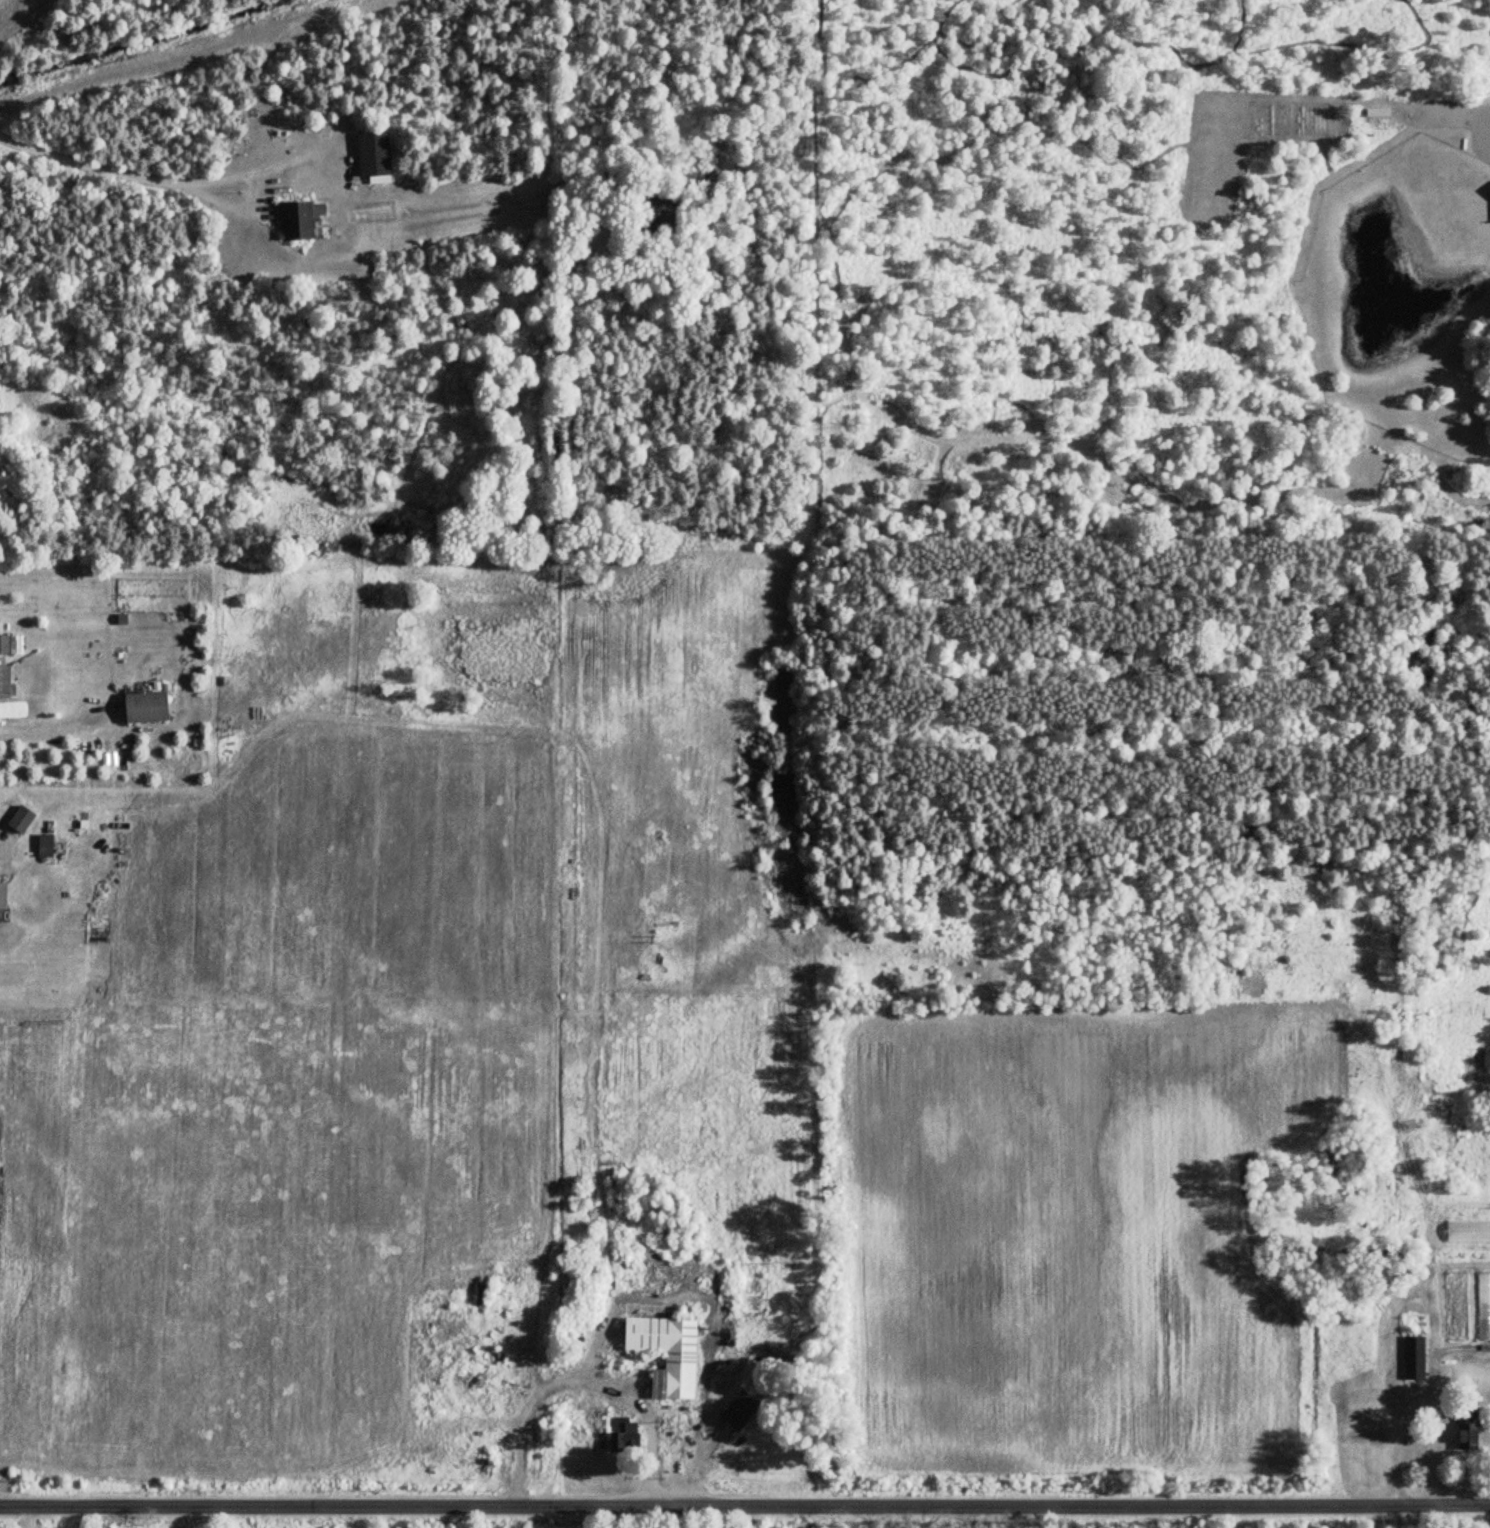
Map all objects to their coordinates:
building: (1378, 112)
building: (376, 157)
road: (112, 167)
building: (297, 221)
building: (5, 645)
building: (5, 682)
building: (148, 707)
road: (29, 732)
building: (47, 846)
building: (4, 899)
building: (1469, 1231)
building: (1484, 1306)
building: (1457, 1307)
building: (667, 1354)
building: (1415, 1358)
road: (581, 1380)
building: (741, 1410)
building: (626, 1435)
building: (1469, 1435)
road: (1429, 1443)
road: (745, 1502)
road: (29, 1516)

